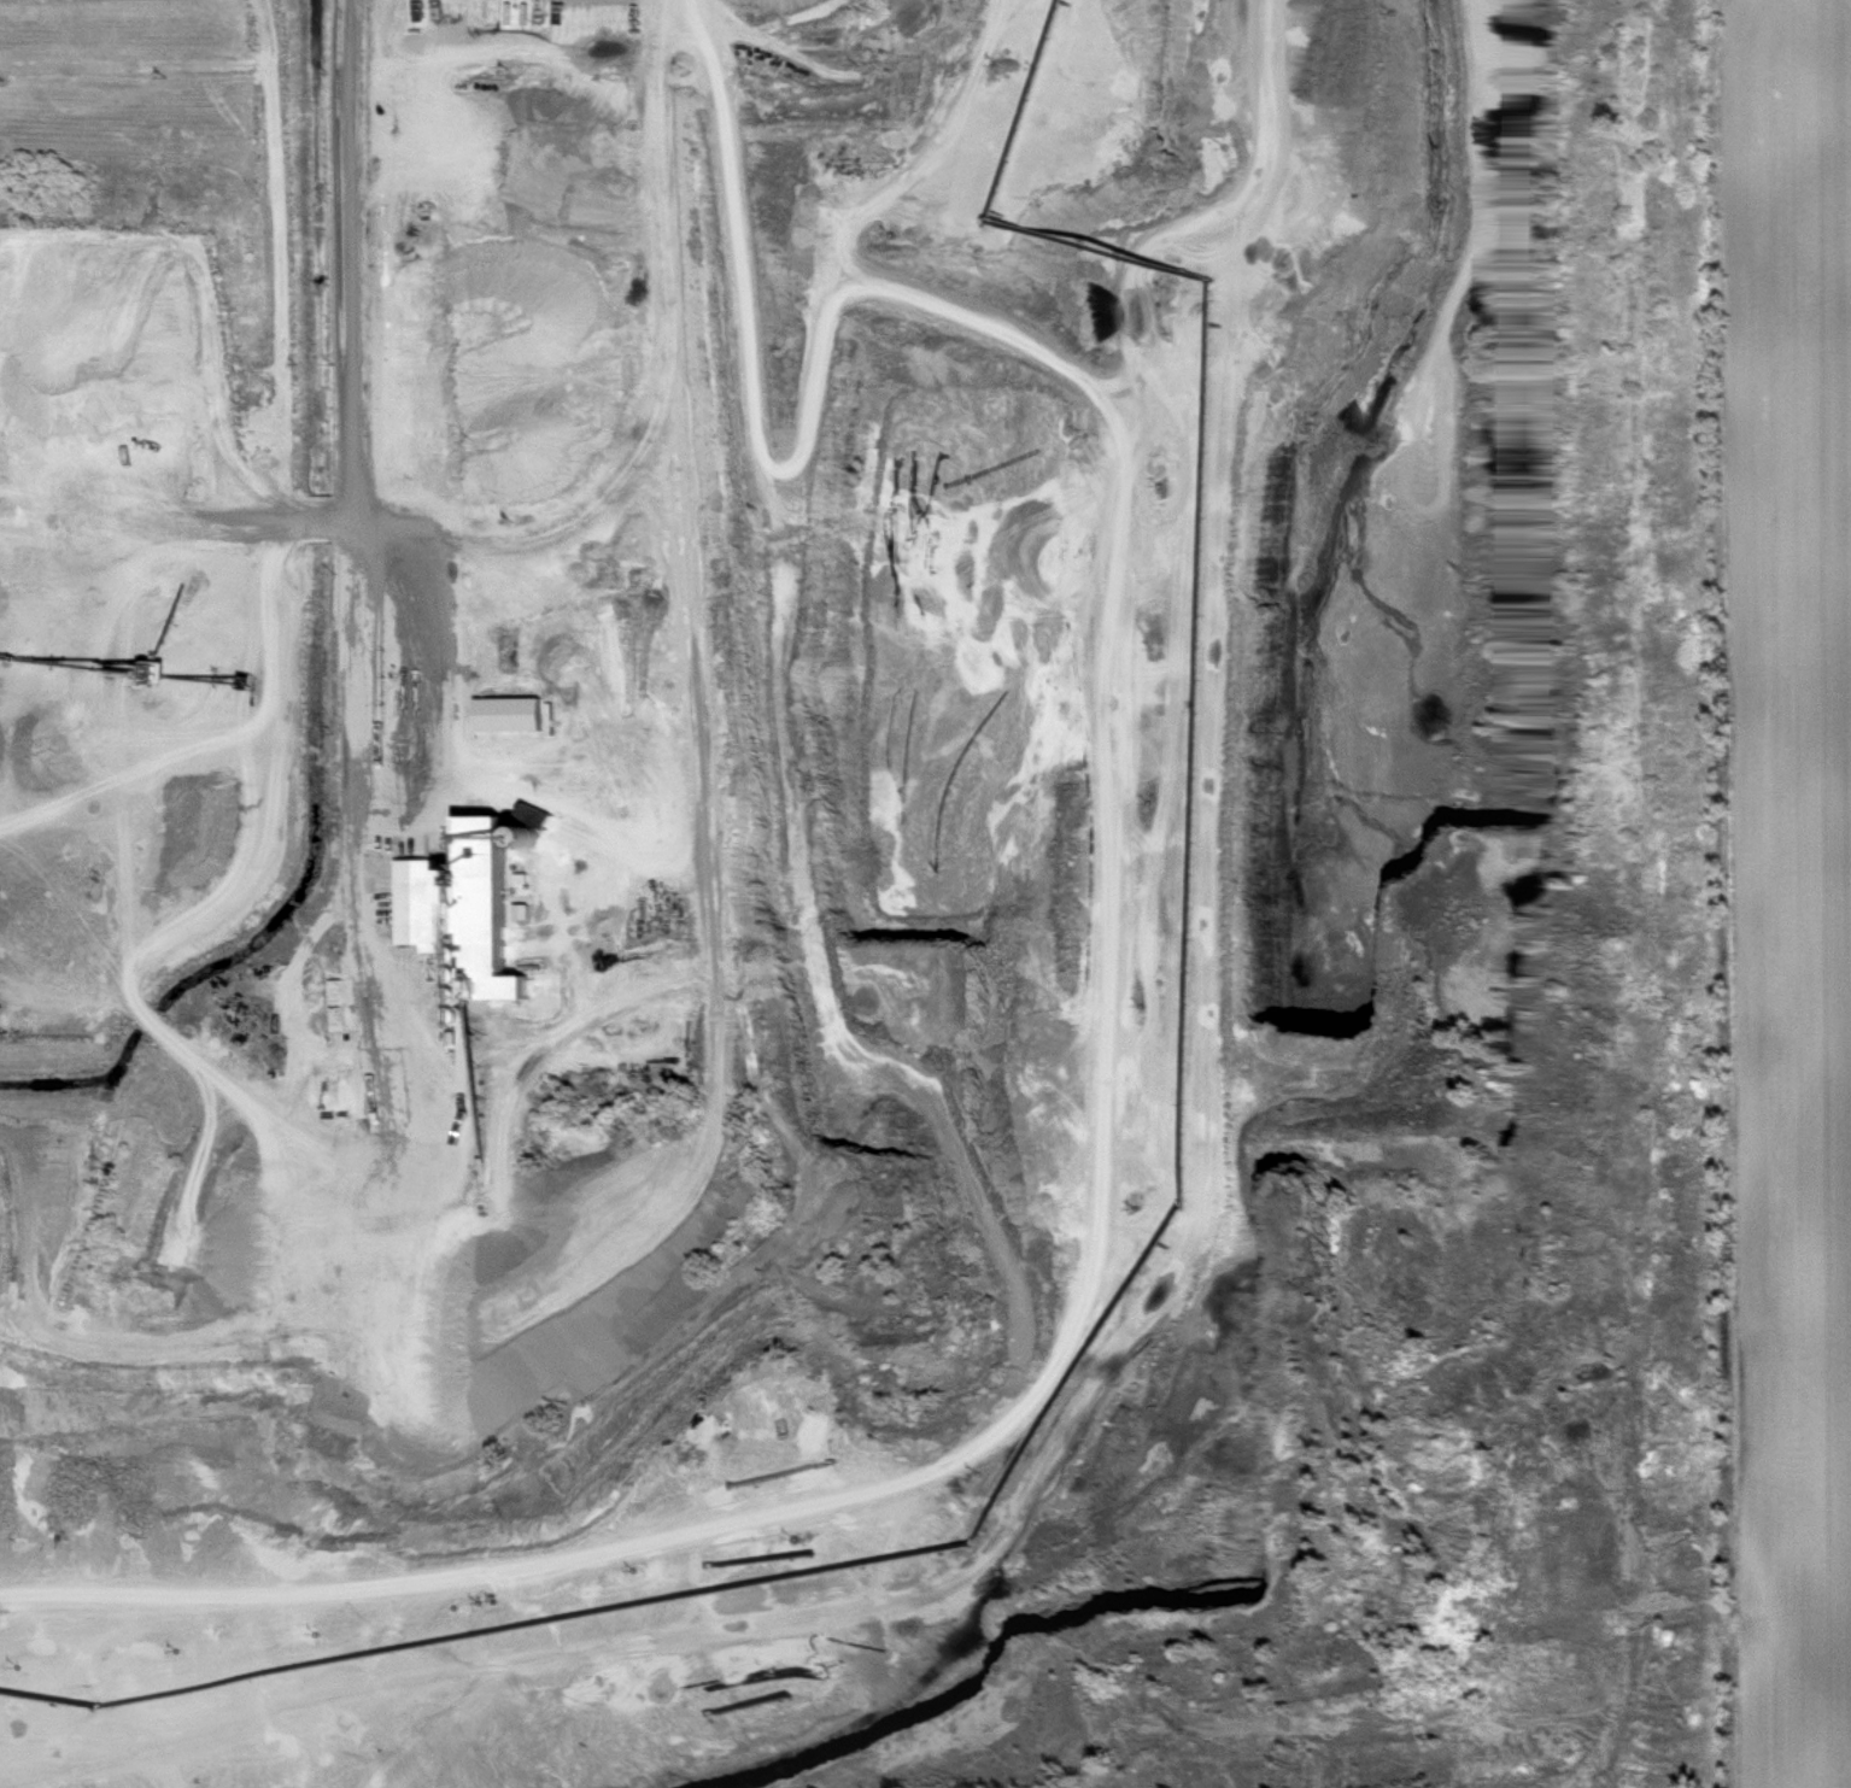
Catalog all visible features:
road: (352, 379)
quarry: (159, 512)
building: (504, 715)
building: (463, 905)
quarry: (950, 943)
building: (334, 1022)

